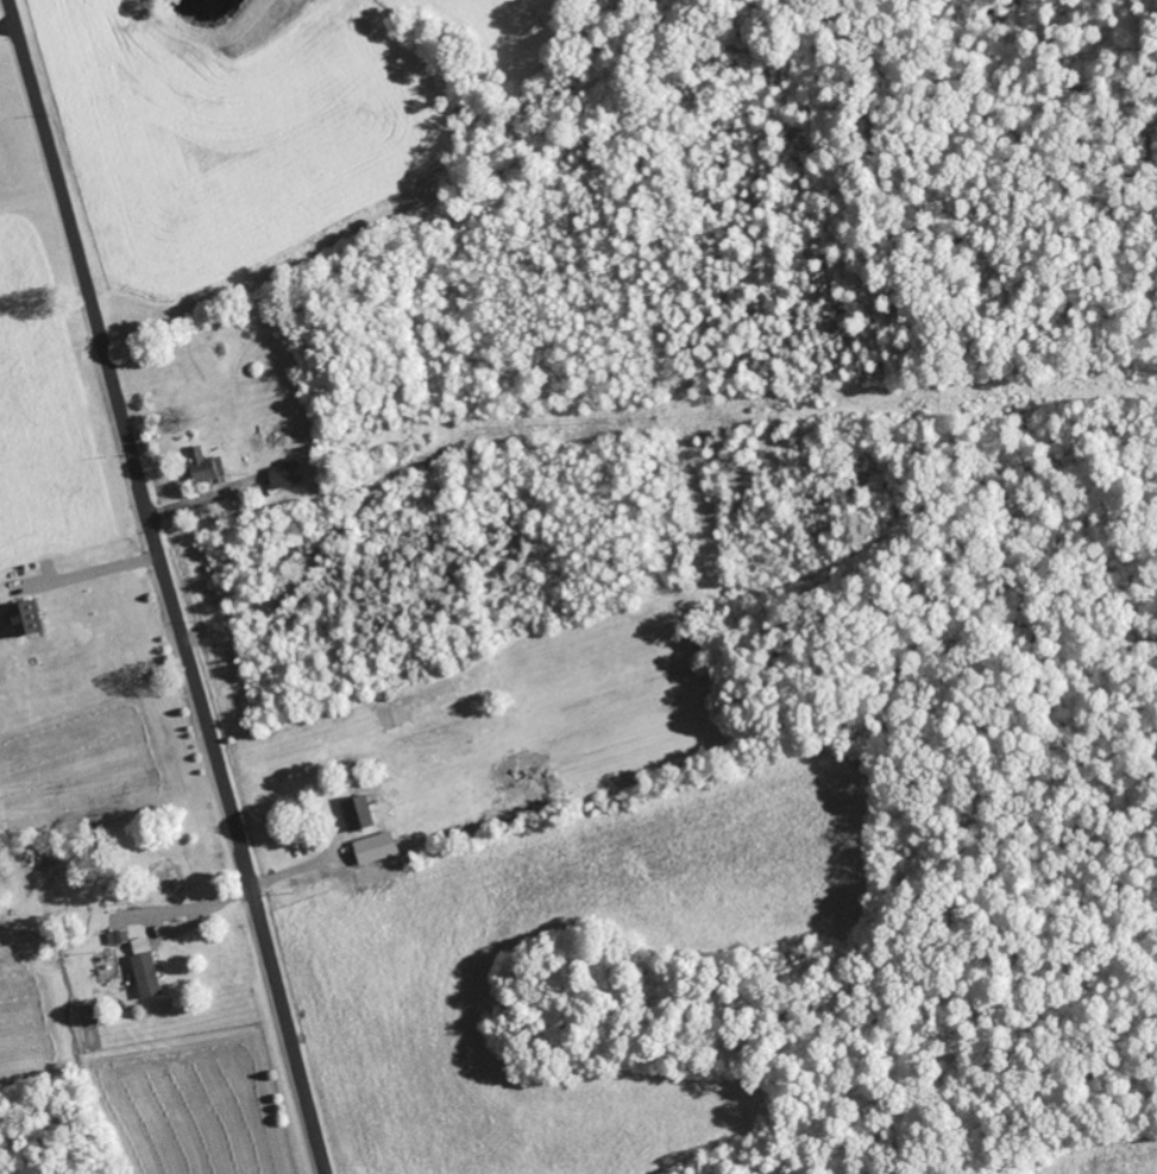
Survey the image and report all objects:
building: (209, 466)
building: (290, 475)
road: (170, 586)
building: (33, 619)
building: (363, 814)
building: (366, 850)
building: (121, 938)
building: (152, 976)

